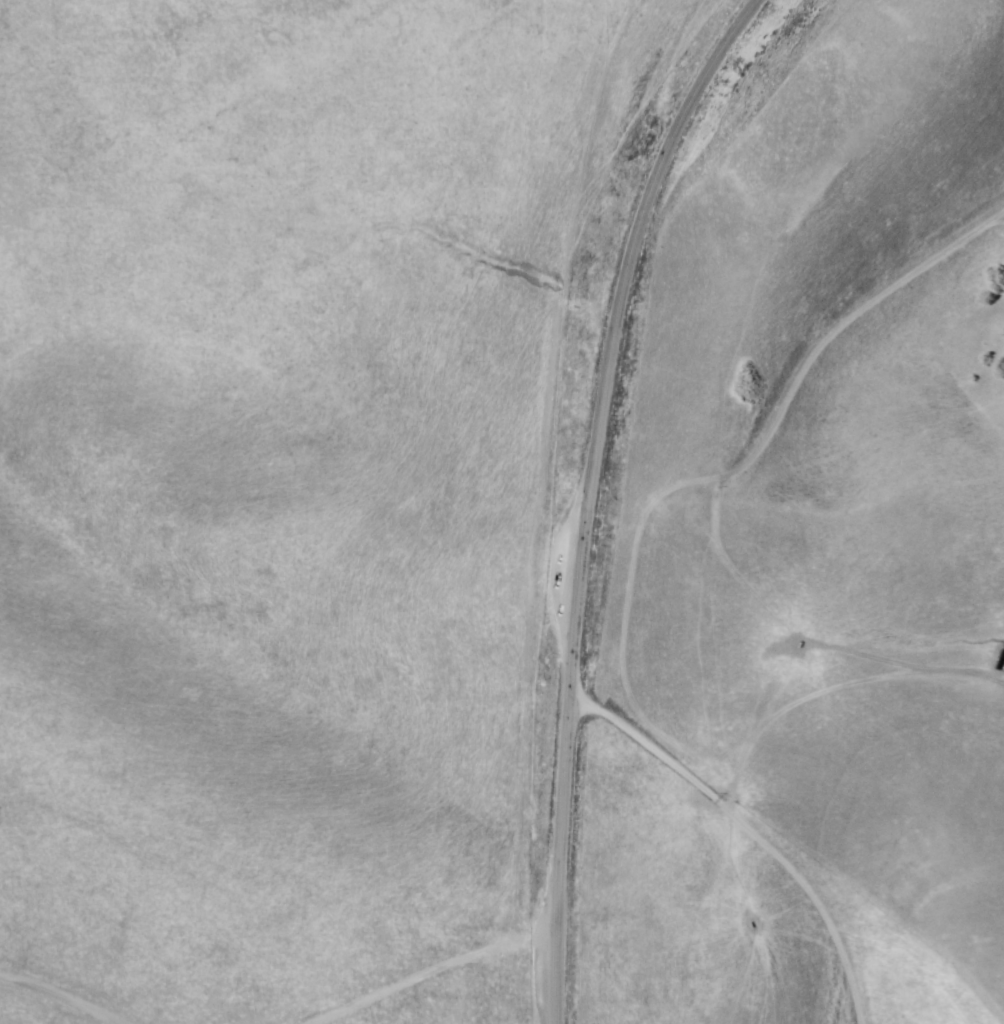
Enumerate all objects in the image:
road: (591, 456)
road: (633, 567)
road: (623, 728)
road: (417, 974)
road: (552, 984)
road: (53, 1003)

